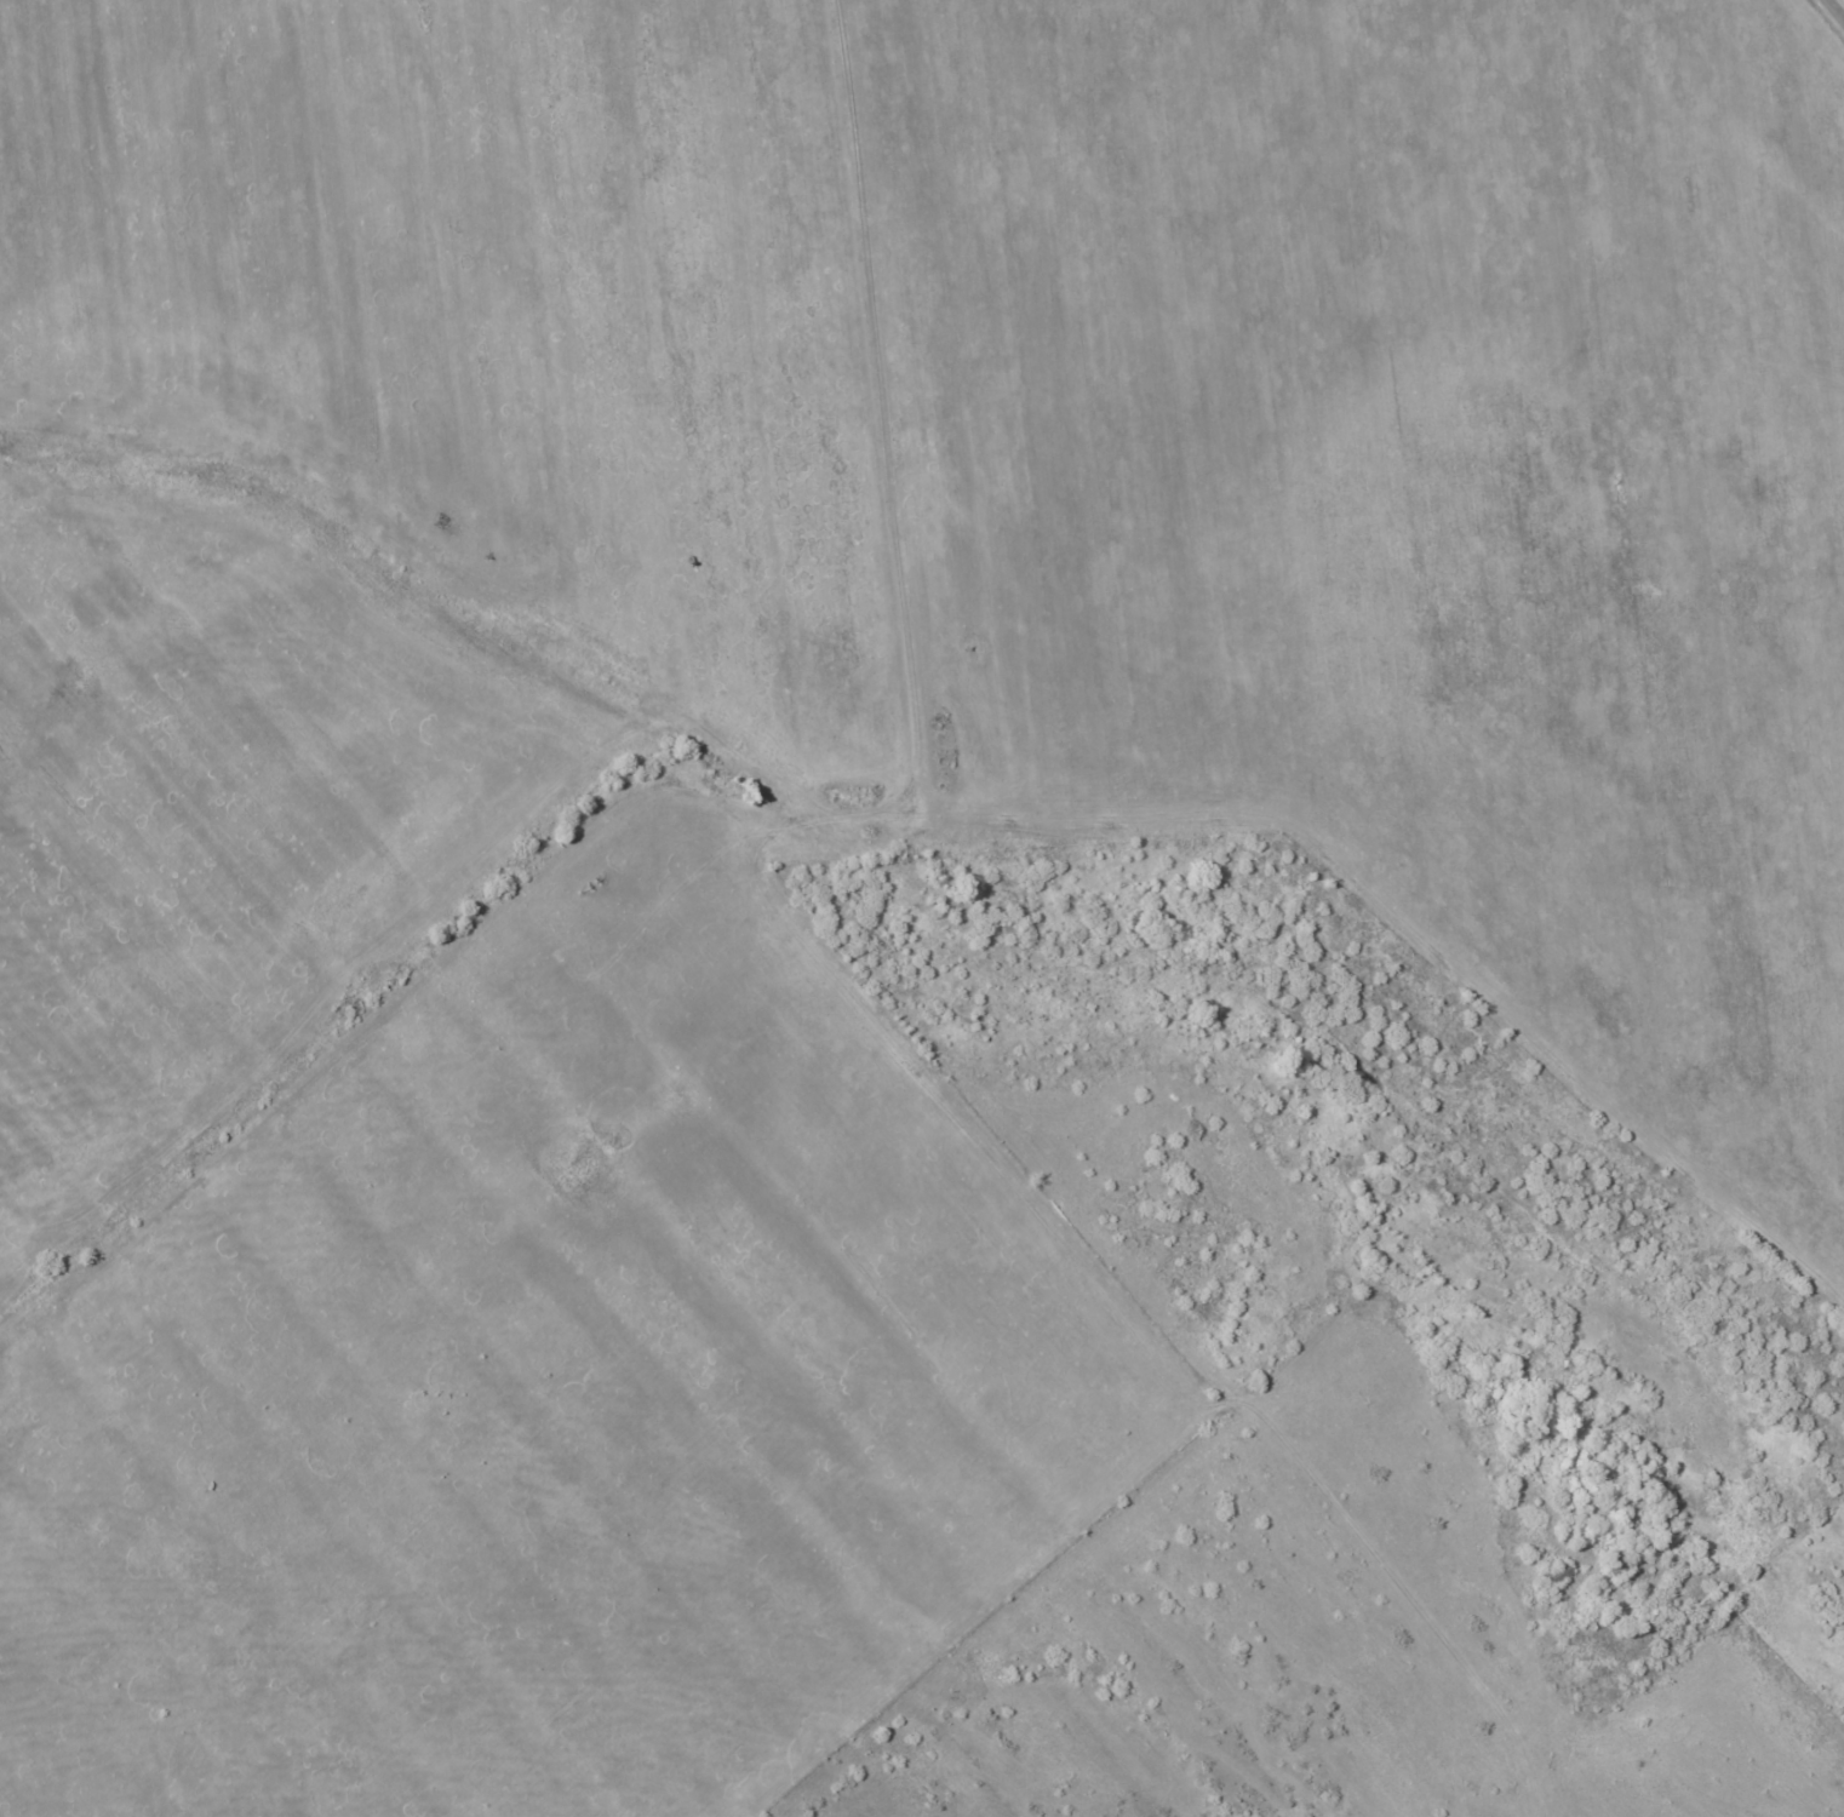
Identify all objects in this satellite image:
road: (1836, 10)

